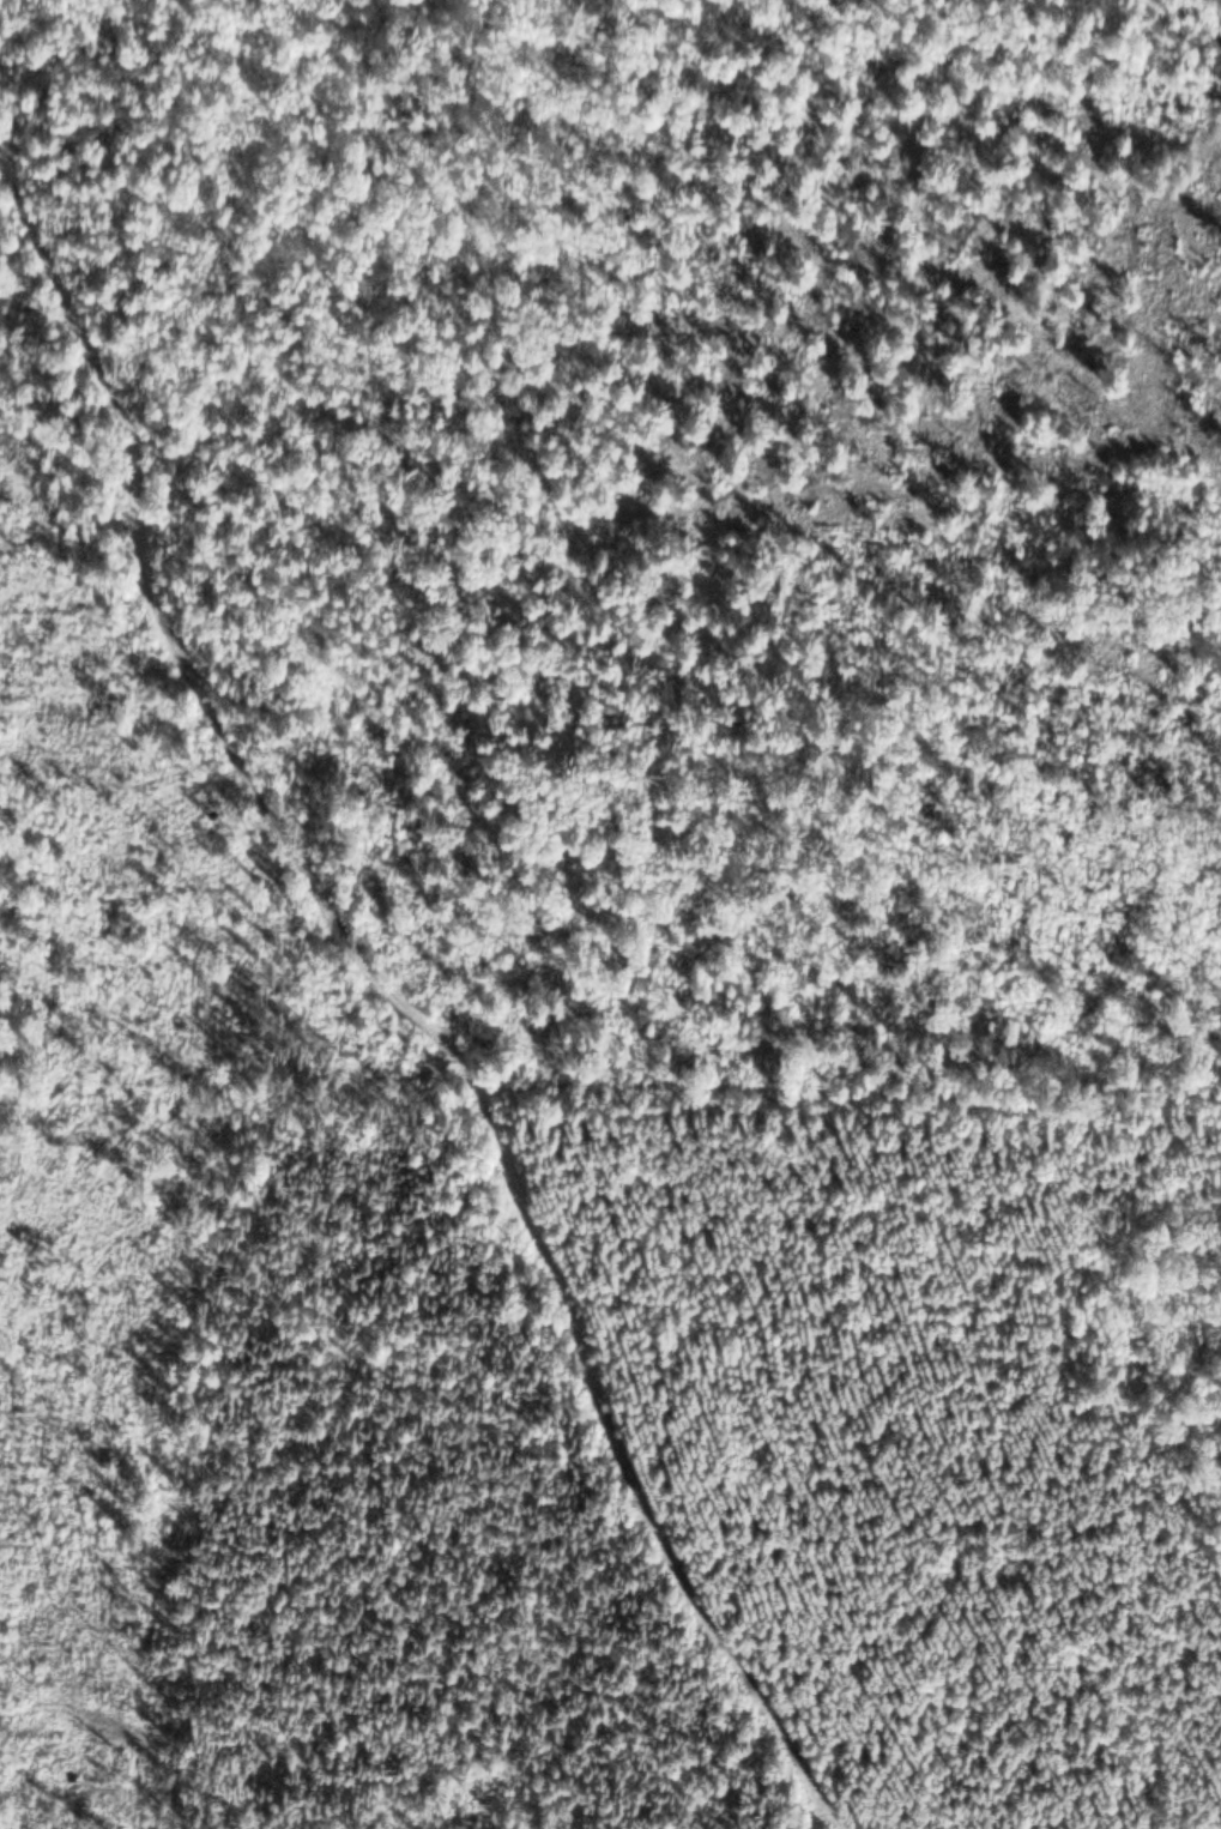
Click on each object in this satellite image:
road: (392, 1015)

